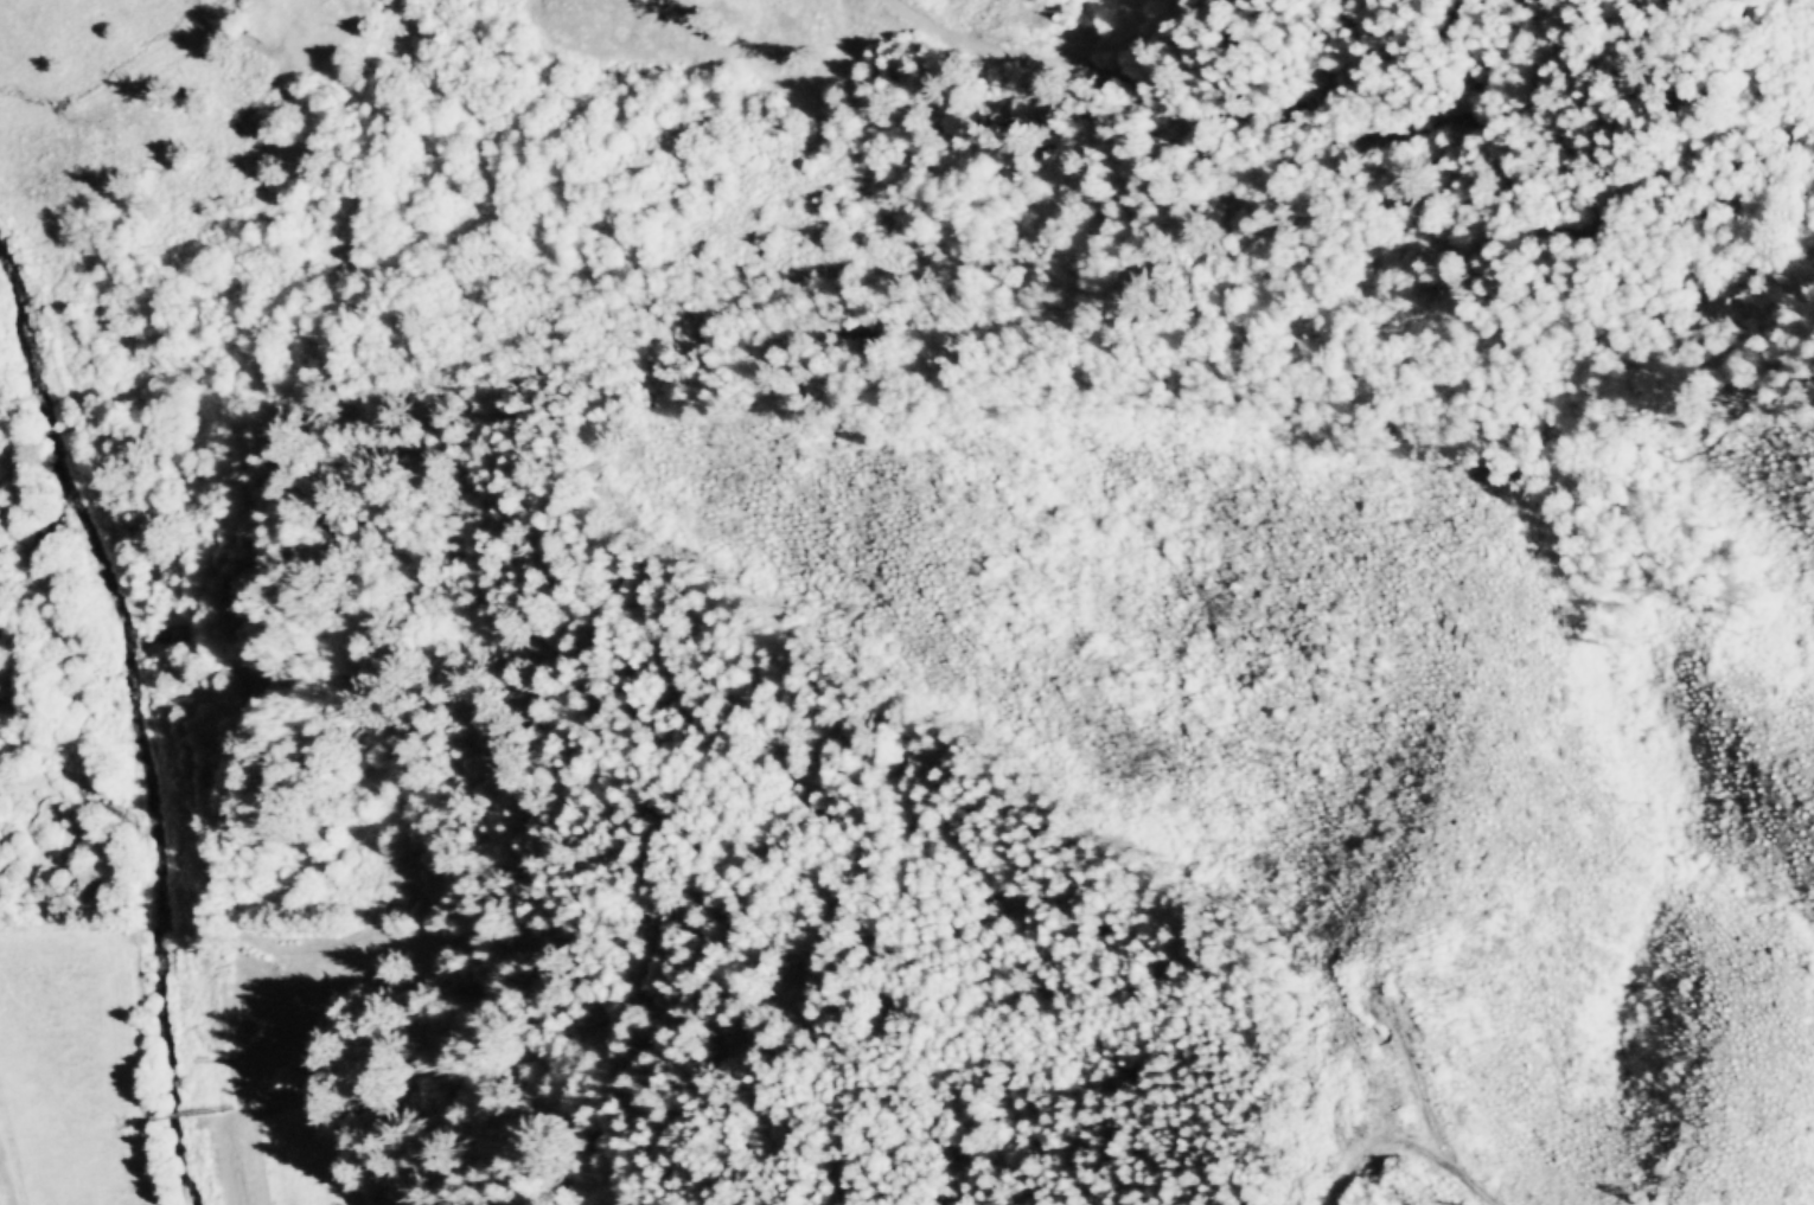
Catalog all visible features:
road: (1706, 143)
river: (141, 724)
road: (1407, 1146)

